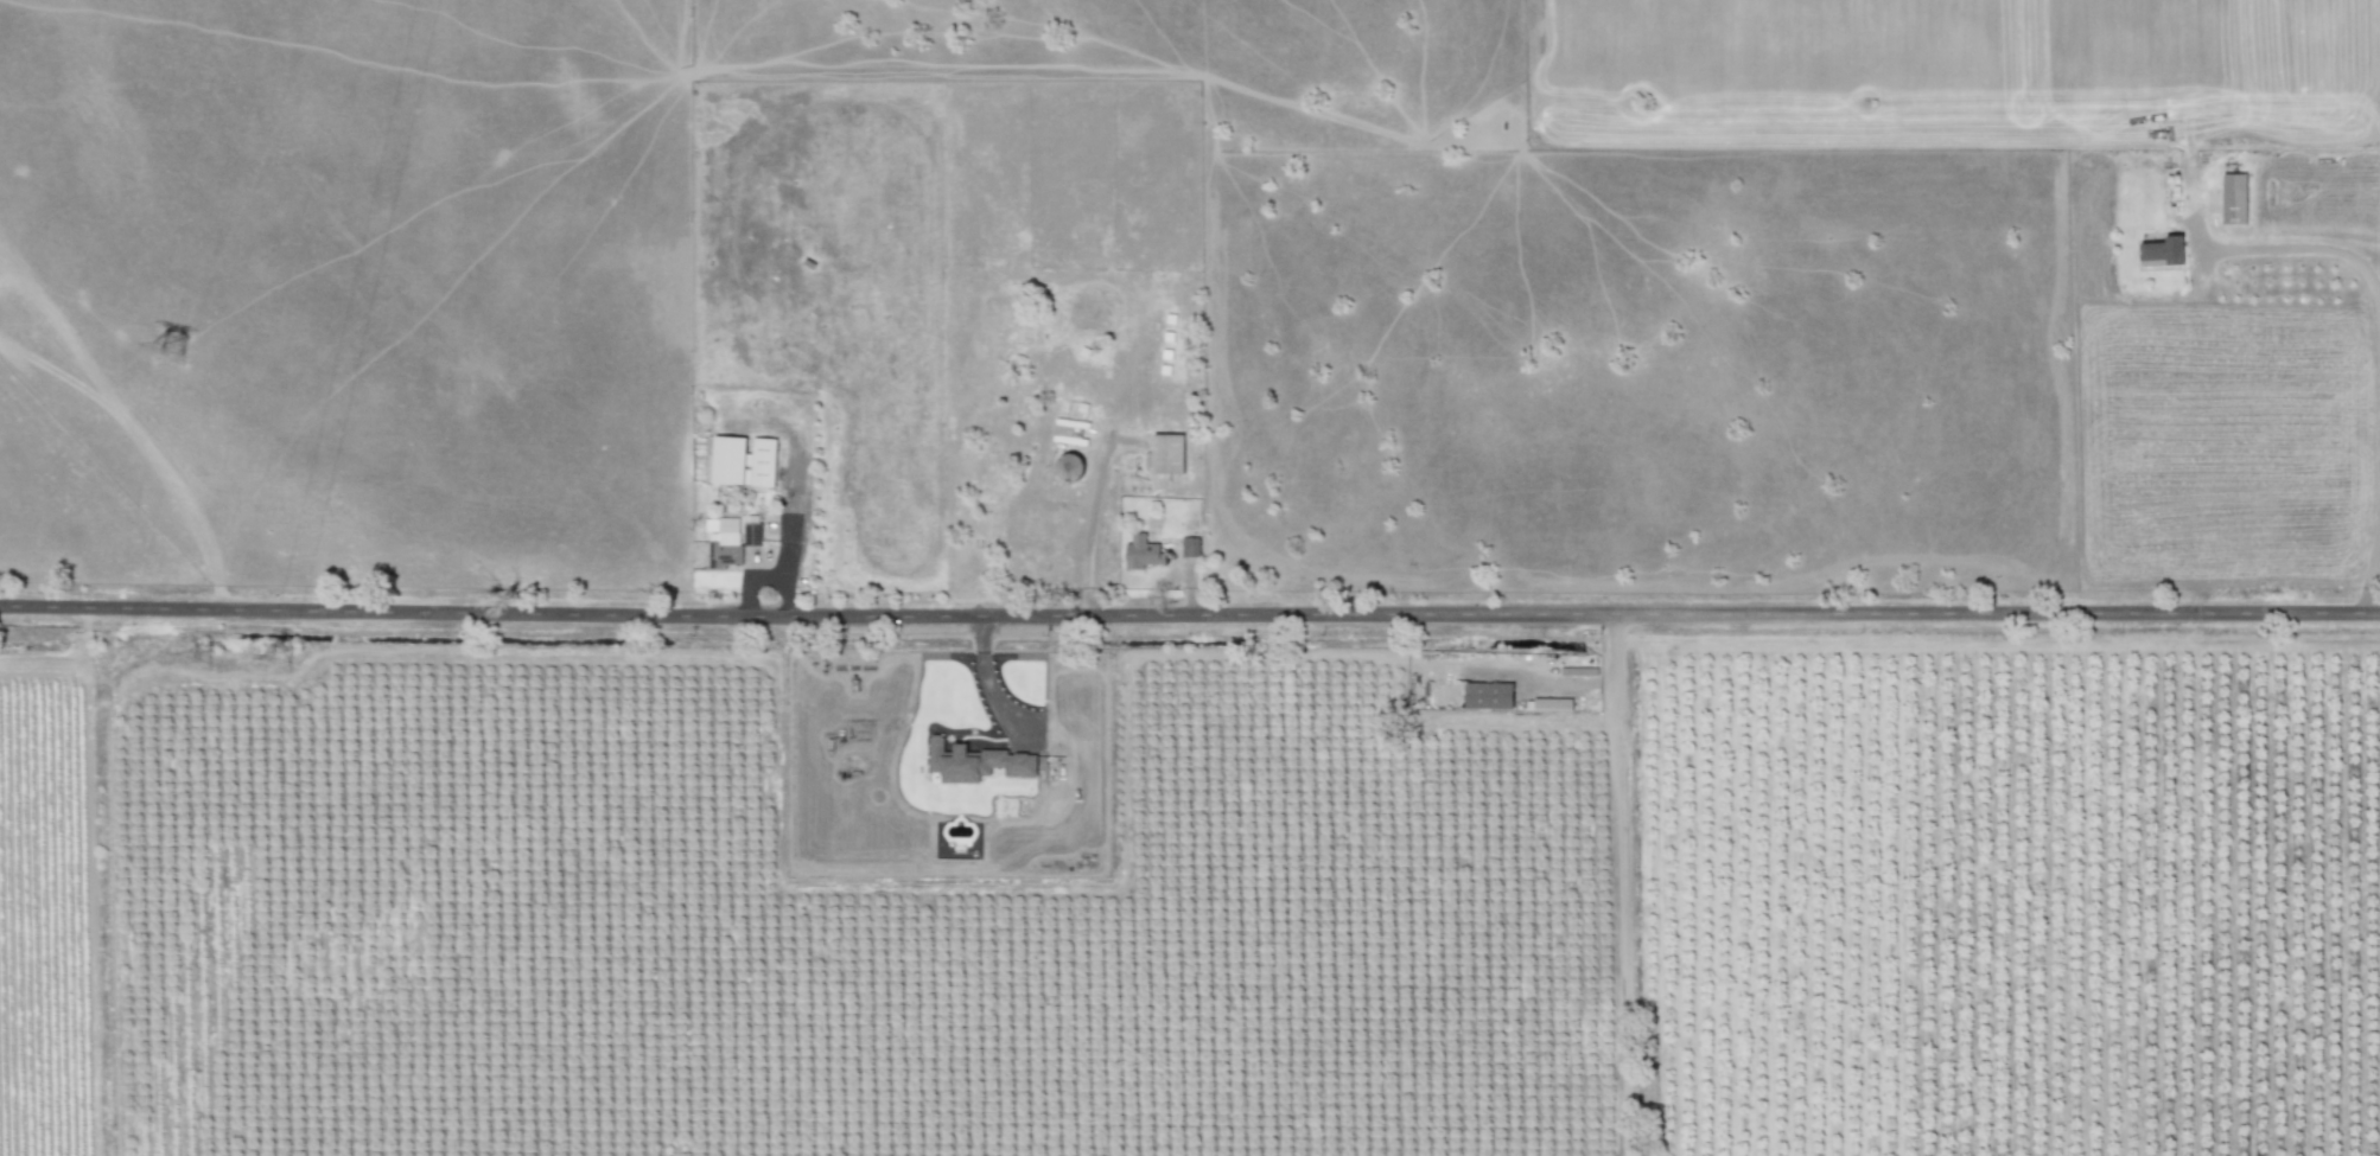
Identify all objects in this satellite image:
building: (2233, 198)
road: (2325, 248)
building: (2162, 250)
power tower: (177, 352)
building: (1166, 452)
building: (743, 459)
road: (793, 498)
building: (723, 529)
building: (1189, 545)
building: (1143, 551)
road: (2371, 558)
road: (764, 575)
crop: (1190, 577)
road: (1189, 612)
power tower: (193, 659)
power tower: (285, 670)
road: (988, 679)
building: (1488, 694)
building: (1547, 703)
building: (987, 761)
road: (1625, 883)

